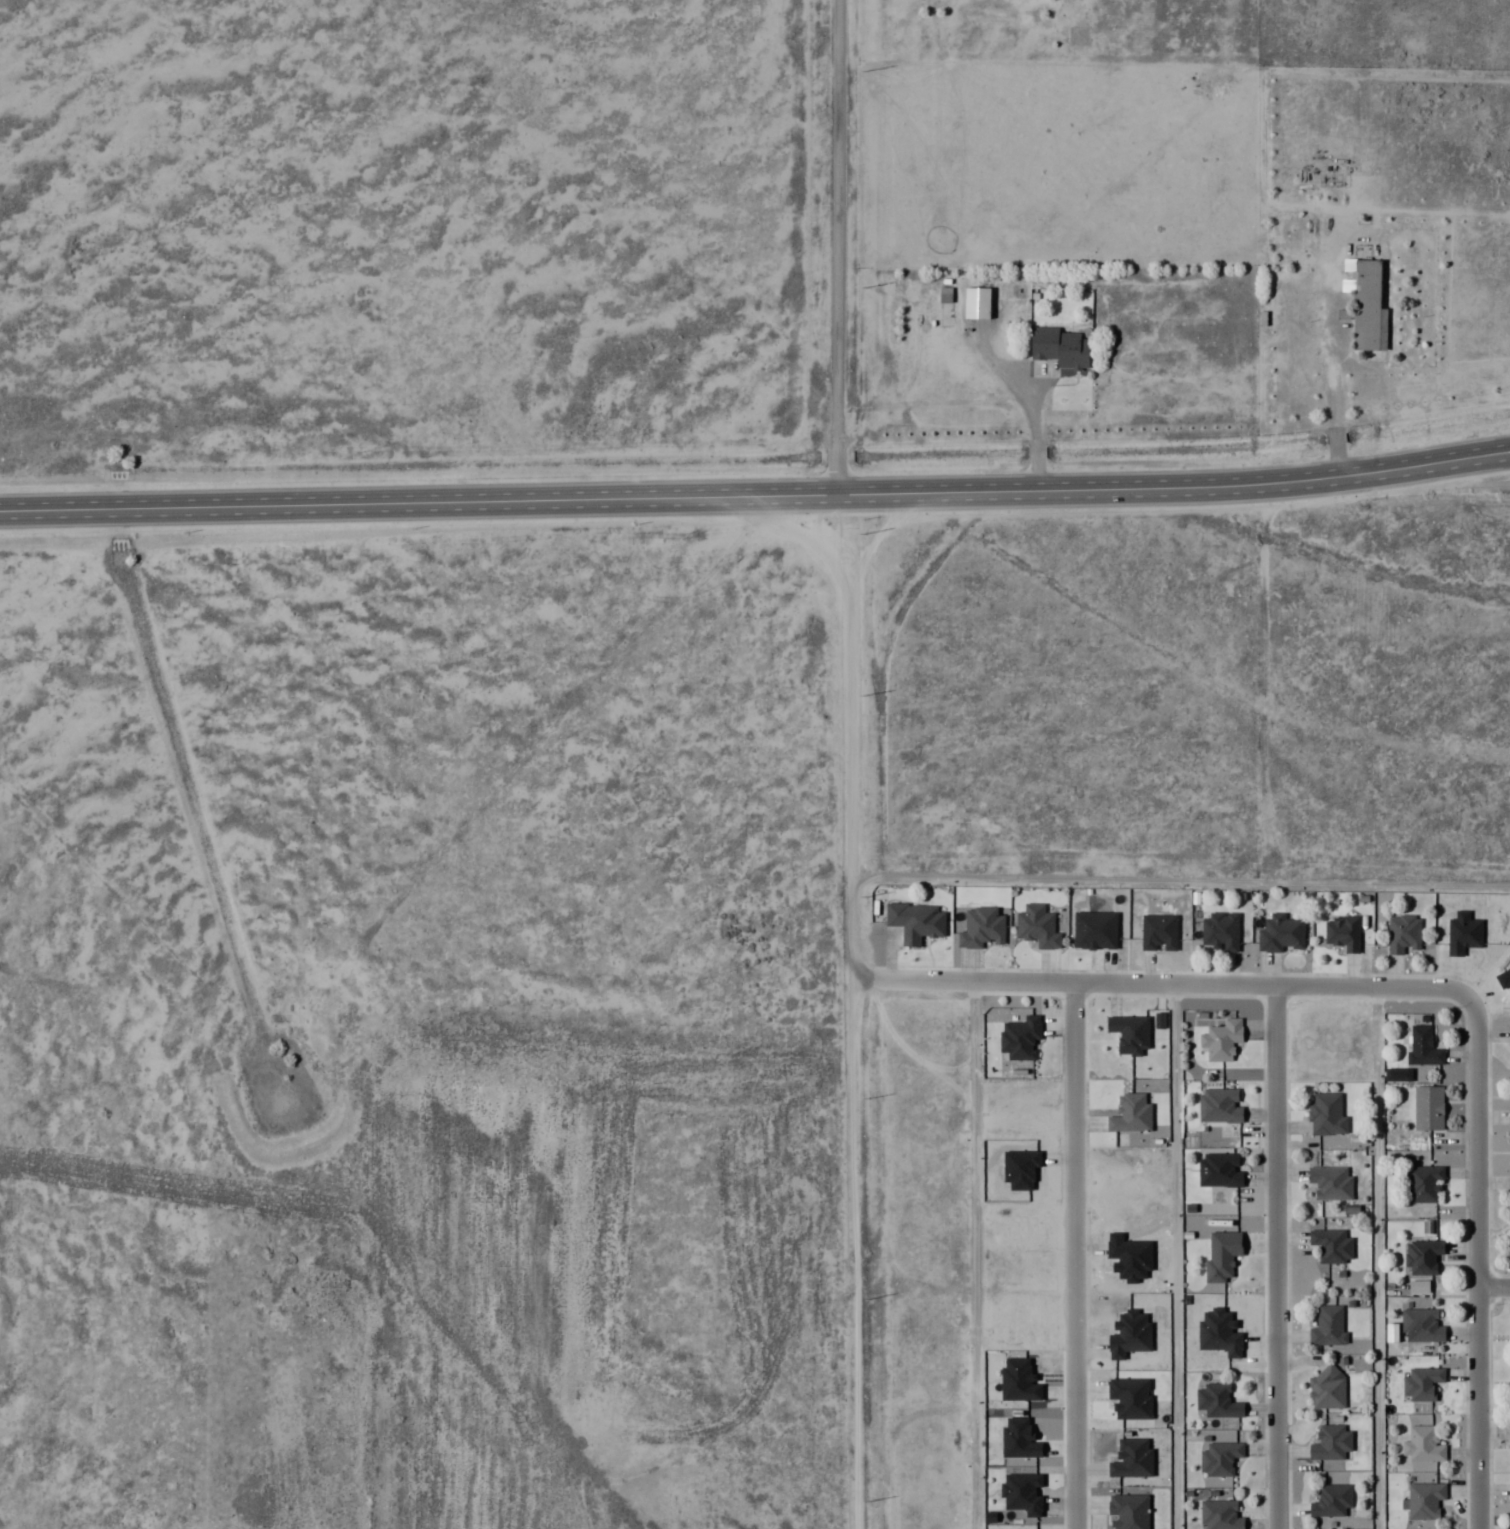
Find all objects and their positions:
road: (835, 240)
building: (976, 302)
building: (1368, 306)
building: (1059, 347)
road: (1331, 355)
road: (998, 371)
road: (1039, 389)
road: (1033, 426)
road: (1334, 439)
road: (1034, 445)
road: (1336, 462)
road: (1034, 467)
road: (755, 483)
power tower: (865, 494)
building: (1343, 932)
building: (1281, 933)
building: (1402, 933)
road: (1172, 983)
building: (1509, 1037)
building: (1221, 1040)
building: (1423, 1046)
building: (1219, 1106)
building: (1428, 1108)
building: (1326, 1115)
building: (1509, 1117)
building: (1509, 1166)
building: (1331, 1182)
building: (1422, 1183)
building: (1332, 1245)
road: (974, 1255)
road: (1073, 1255)
road: (1174, 1256)
road: (1274, 1257)
road: (1376, 1257)
building: (1422, 1257)
road: (1475, 1264)
road: (1493, 1287)
building: (1420, 1325)
building: (1327, 1326)
building: (1420, 1383)
building: (1327, 1387)
building: (1217, 1400)
building: (1331, 1443)
building: (1423, 1444)
building: (1219, 1457)
building: (1424, 1499)
building: (1331, 1500)
building: (1220, 1515)

